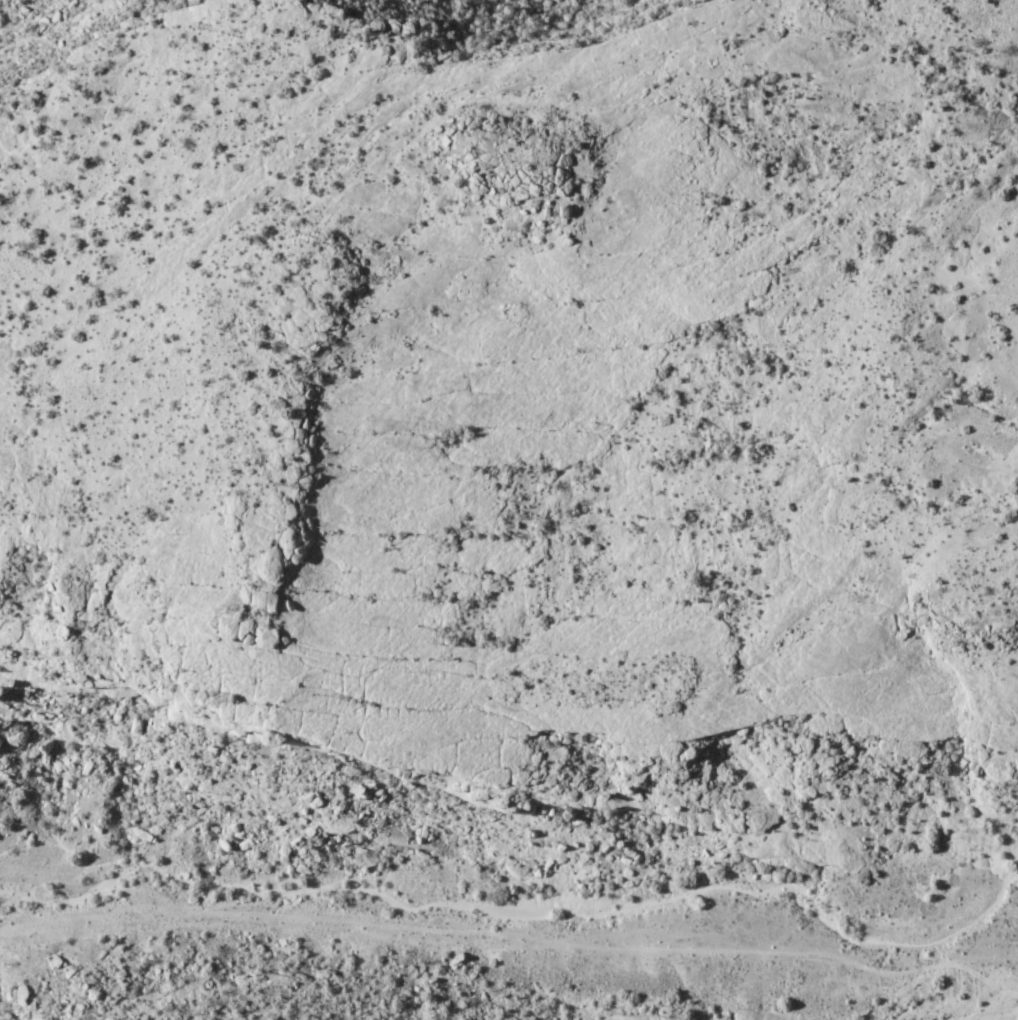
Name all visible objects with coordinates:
building: (270, 740)

